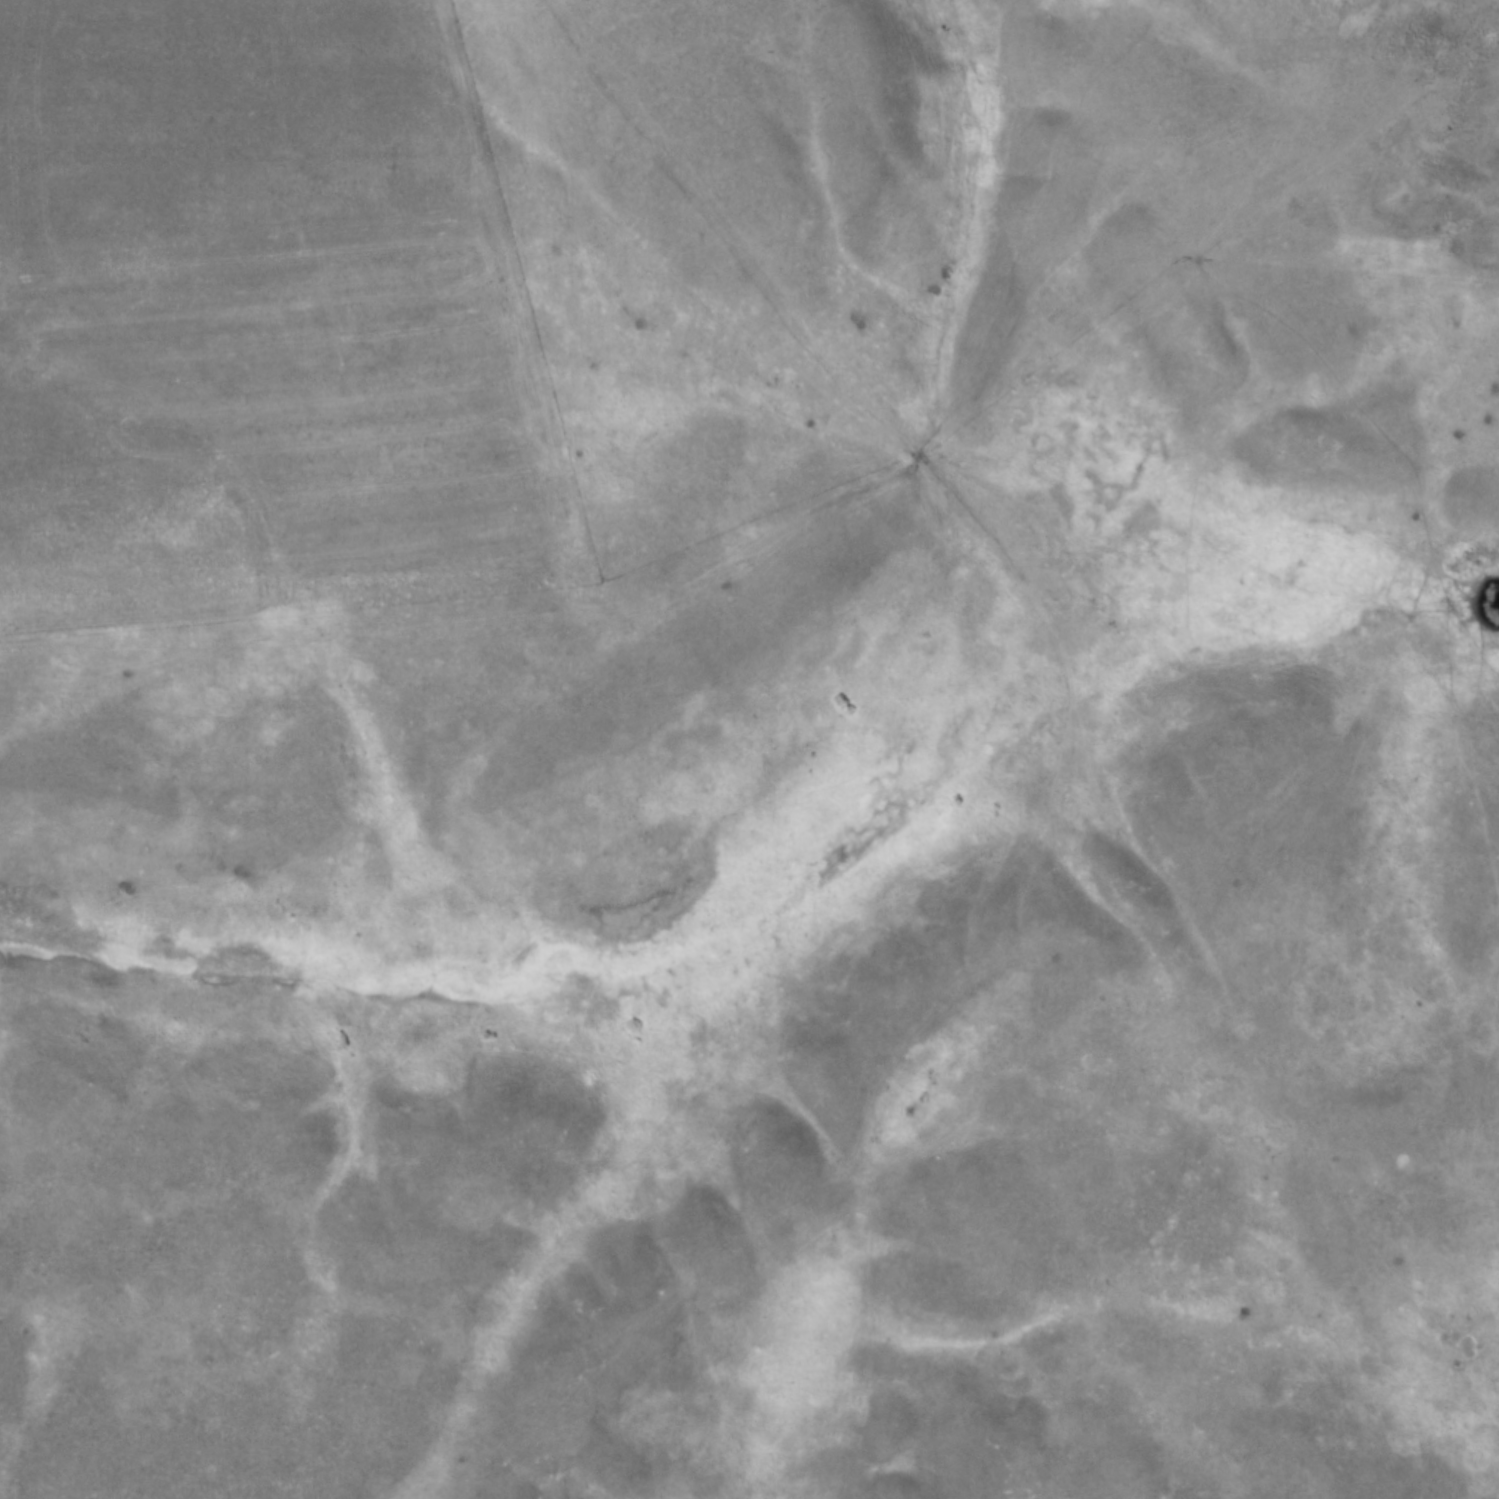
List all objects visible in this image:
quarry: (1404, 17)

